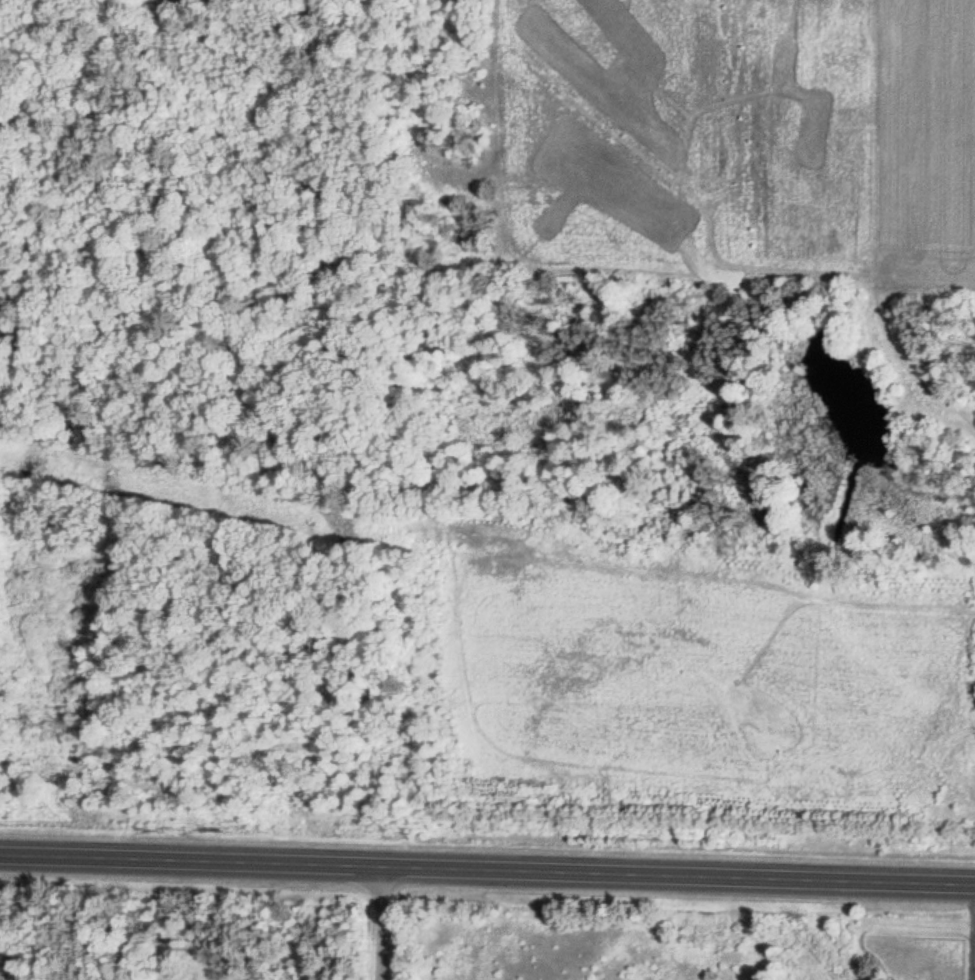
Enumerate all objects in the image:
road: (487, 869)
road: (384, 923)

